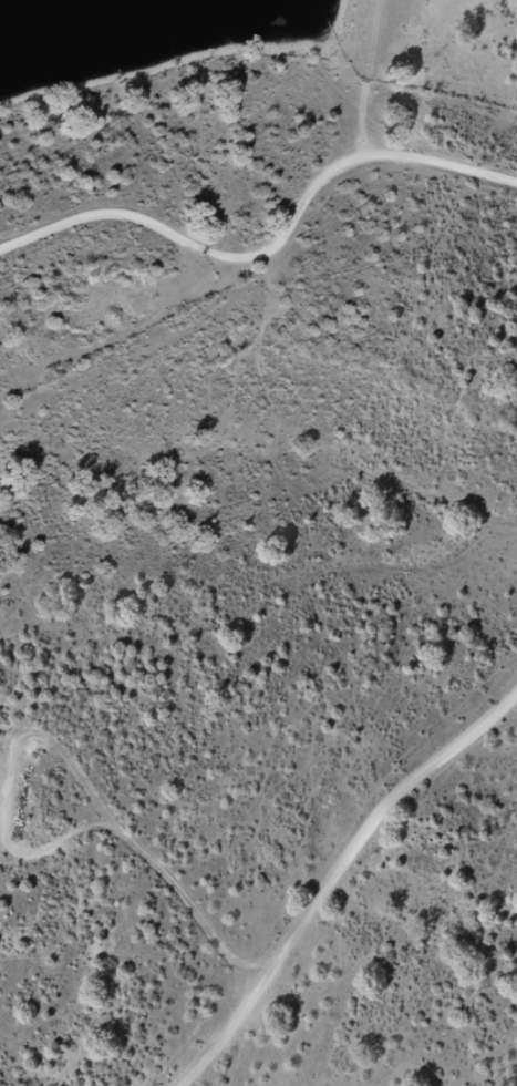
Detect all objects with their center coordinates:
road: (265, 307)
road: (363, 918)

